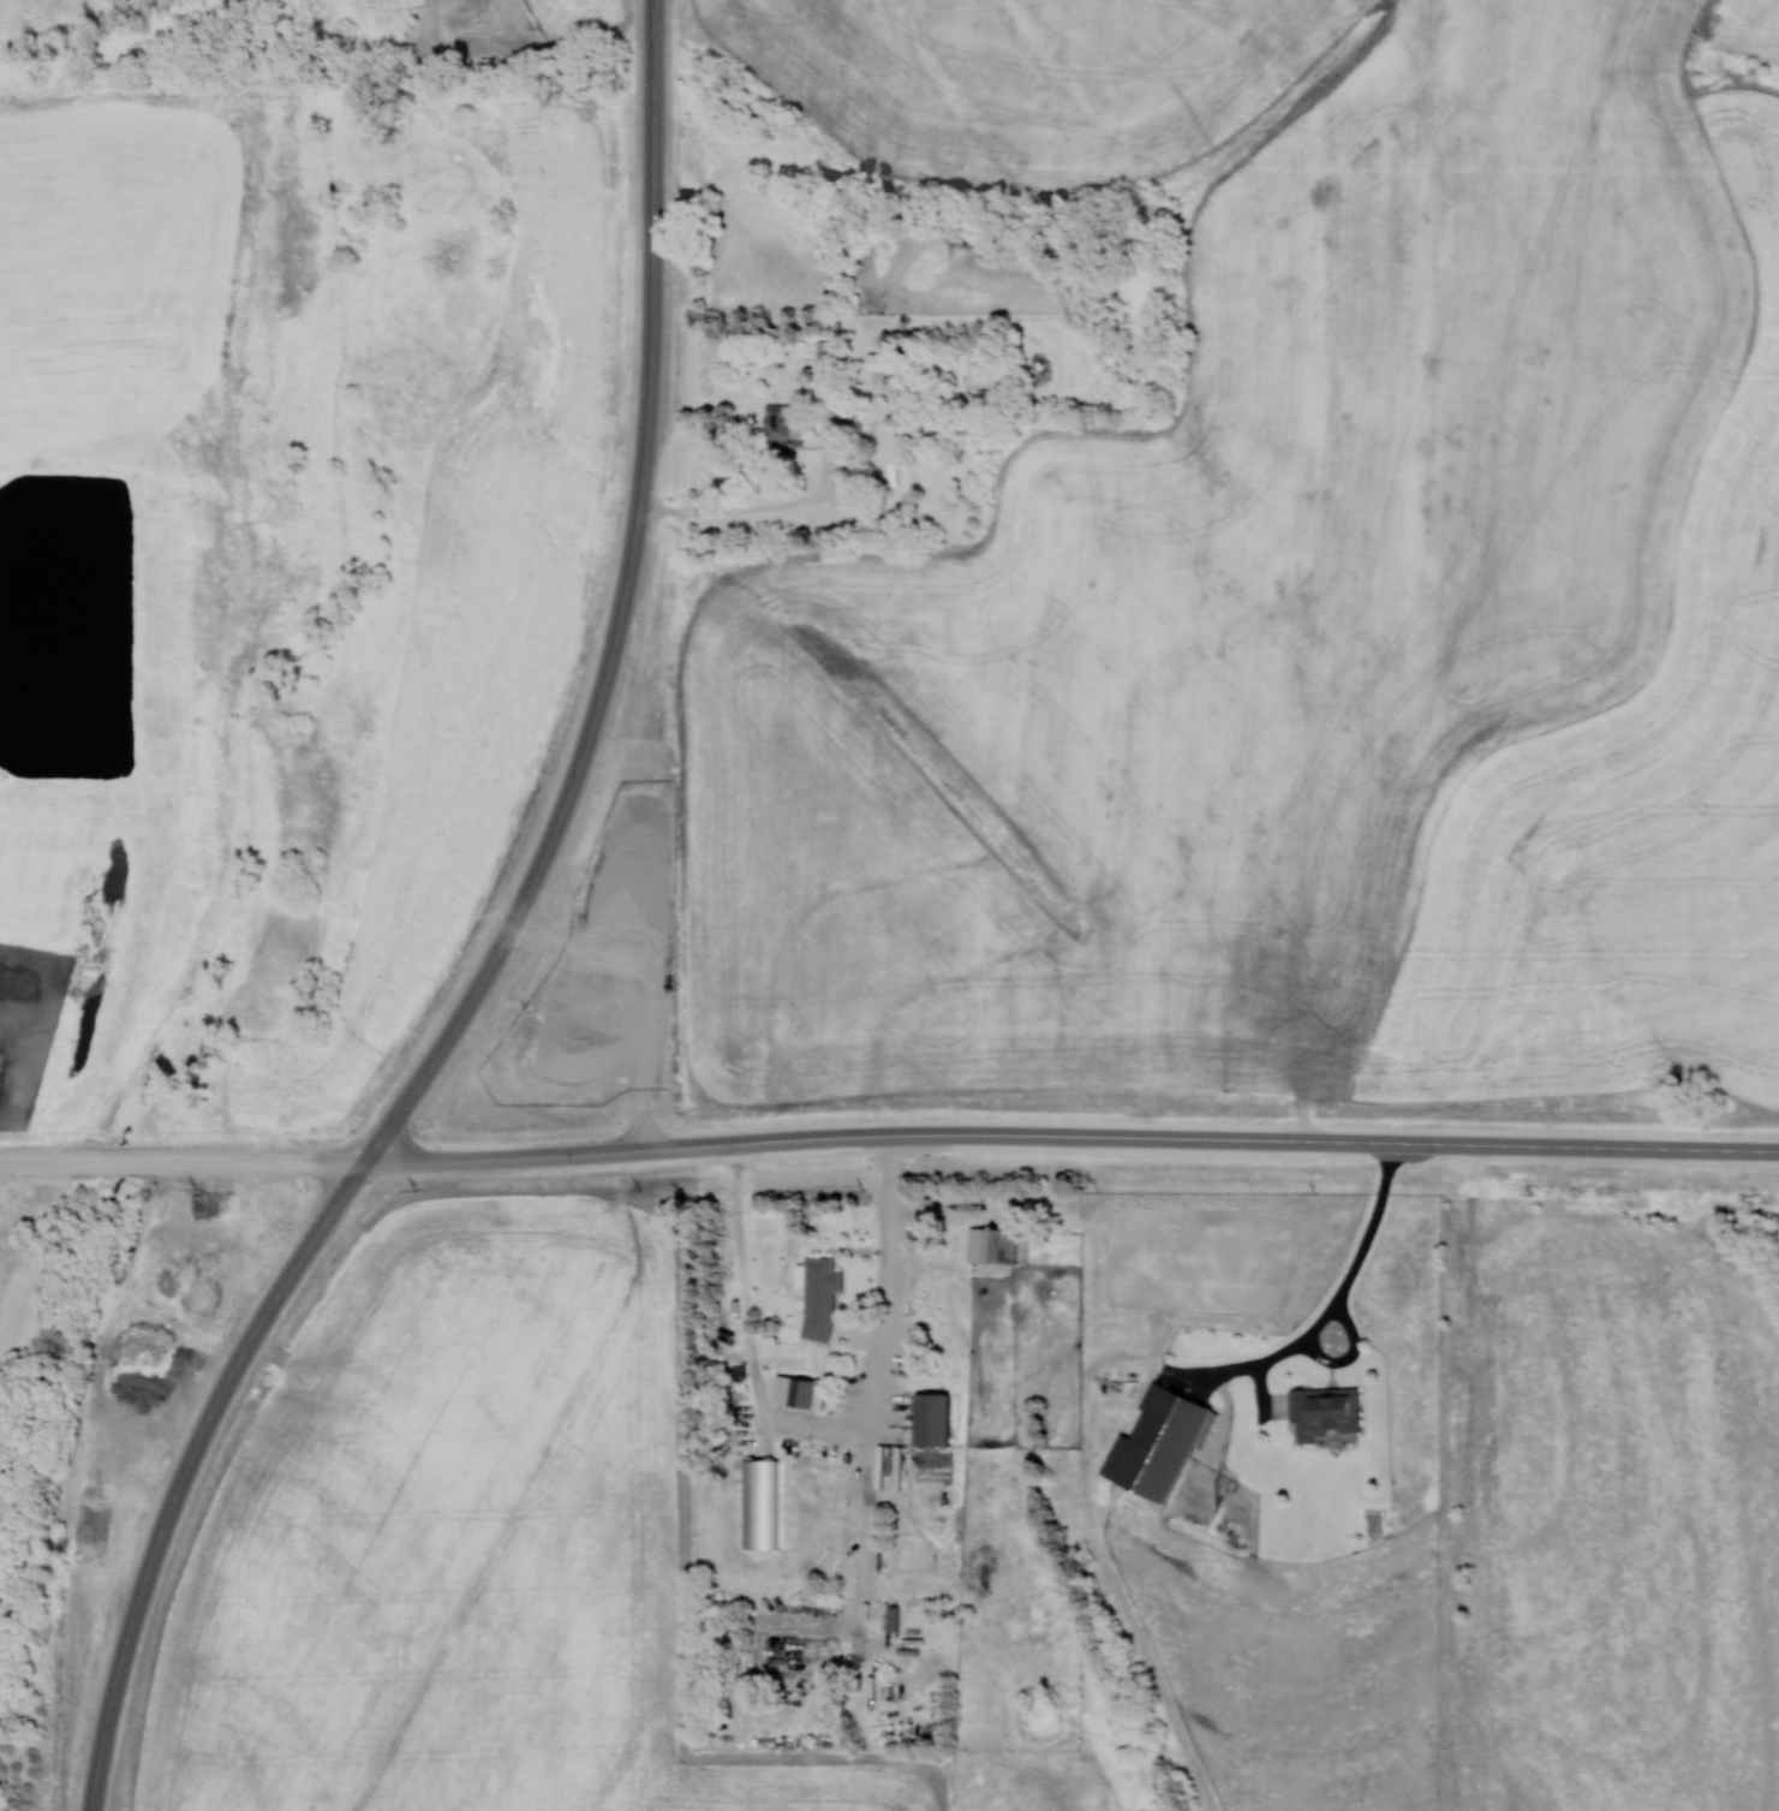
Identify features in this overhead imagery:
building: (884, 361)
building: (824, 392)
building: (780, 423)
building: (854, 483)
building: (906, 505)
road: (621, 609)
road: (1071, 1134)
road: (183, 1158)
building: (991, 1244)
road: (1336, 1295)
building: (818, 1297)
building: (800, 1390)
building: (1323, 1411)
building: (930, 1418)
building: (1157, 1442)
road: (185, 1467)
building: (756, 1618)
building: (891, 1618)
building: (747, 1688)
building: (783, 1694)
building: (820, 1694)
building: (902, 1694)

